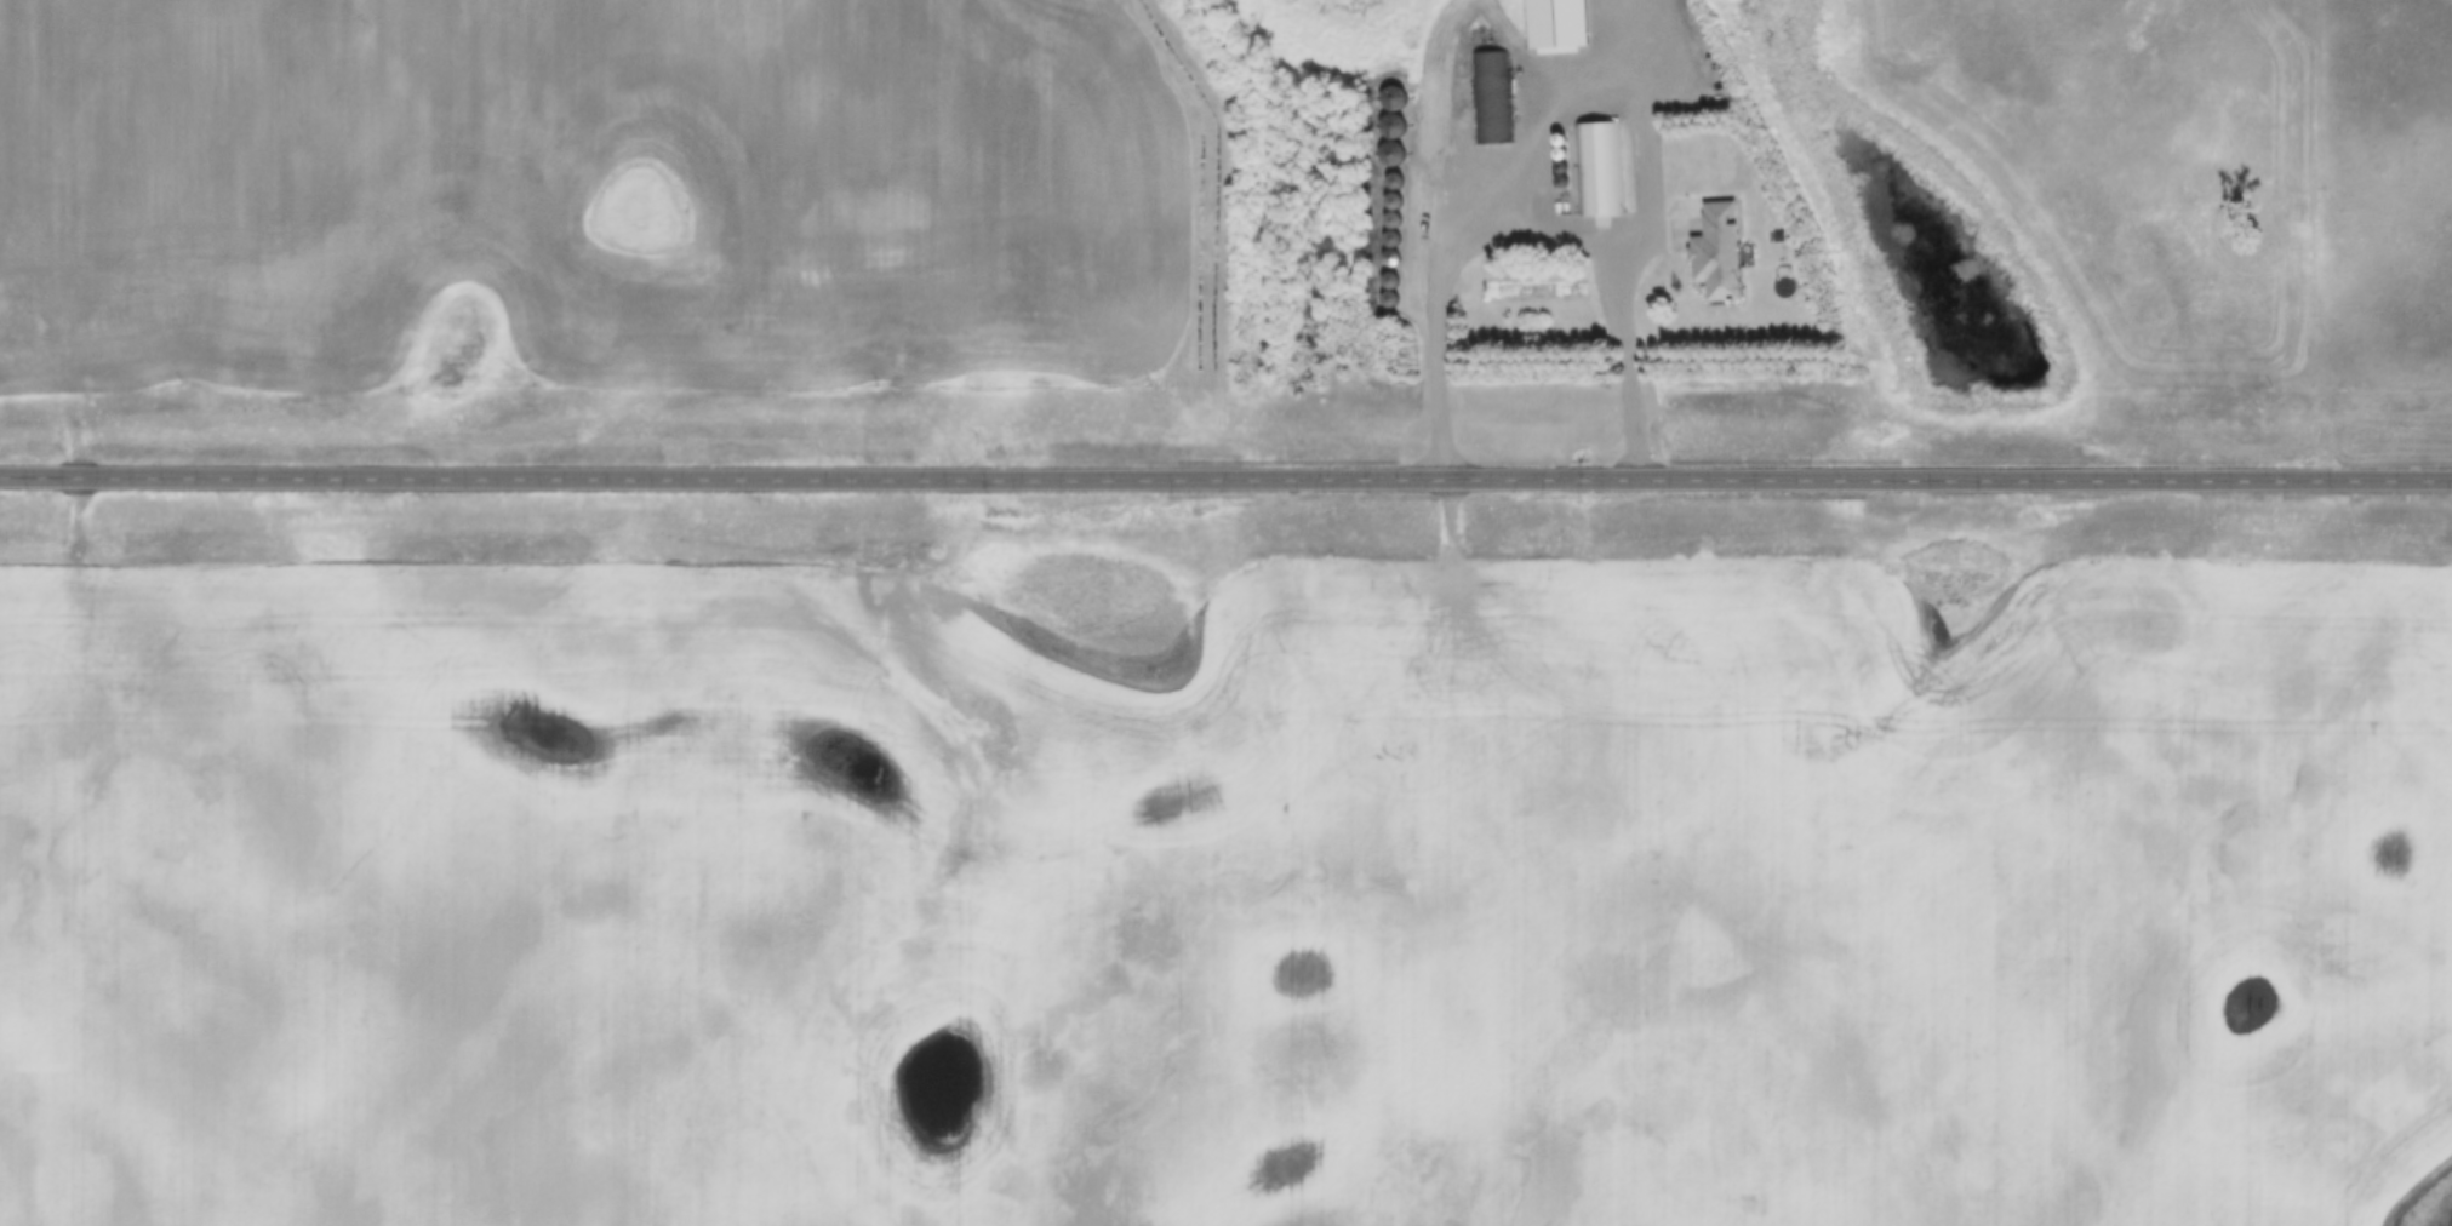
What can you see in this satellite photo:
building: (1556, 25)
building: (1491, 99)
road: (1550, 105)
building: (1391, 128)
building: (1599, 170)
road: (1534, 223)
building: (1716, 252)
road: (1225, 476)

